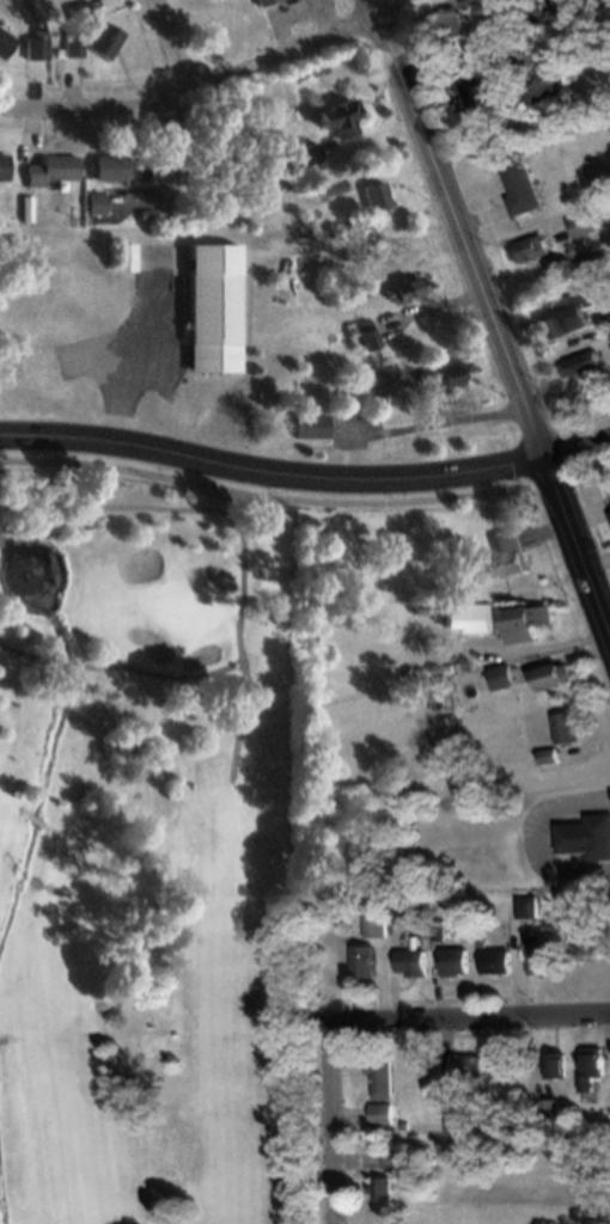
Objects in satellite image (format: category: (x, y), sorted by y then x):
building: (264, 1)
building: (474, 2)
building: (557, 7)
building: (78, 11)
building: (459, 25)
building: (104, 39)
building: (5, 42)
building: (69, 42)
building: (35, 47)
road: (172, 48)
building: (488, 86)
building: (543, 87)
road: (205, 88)
building: (340, 117)
building: (309, 153)
road: (173, 164)
building: (2, 166)
building: (110, 169)
building: (50, 170)
building: (521, 183)
building: (376, 195)
building: (94, 203)
building: (582, 224)
road: (456, 226)
building: (530, 249)
building: (123, 257)
building: (403, 290)
building: (214, 307)
building: (574, 313)
building: (365, 335)
building: (584, 365)
building: (376, 386)
building: (311, 426)
road: (575, 442)
road: (269, 471)
road: (263, 496)
road: (236, 534)
road: (575, 541)
building: (512, 551)
park: (178, 607)
building: (474, 616)
building: (530, 620)
road: (20, 654)
road: (56, 662)
road: (154, 674)
building: (502, 675)
building: (553, 677)
building: (568, 726)
road: (29, 818)
building: (586, 836)
road: (5, 857)
park: (146, 859)
road: (18, 870)
road: (30, 882)
building: (407, 902)
building: (526, 905)
building: (378, 924)
building: (545, 951)
building: (368, 959)
building: (501, 959)
building: (415, 961)
building: (459, 961)
road: (469, 1014)
road: (4, 1038)
road: (329, 1057)
building: (560, 1064)
building: (596, 1065)
building: (472, 1066)
building: (384, 1077)
building: (550, 1107)
building: (384, 1114)
building: (399, 1157)
building: (386, 1186)

